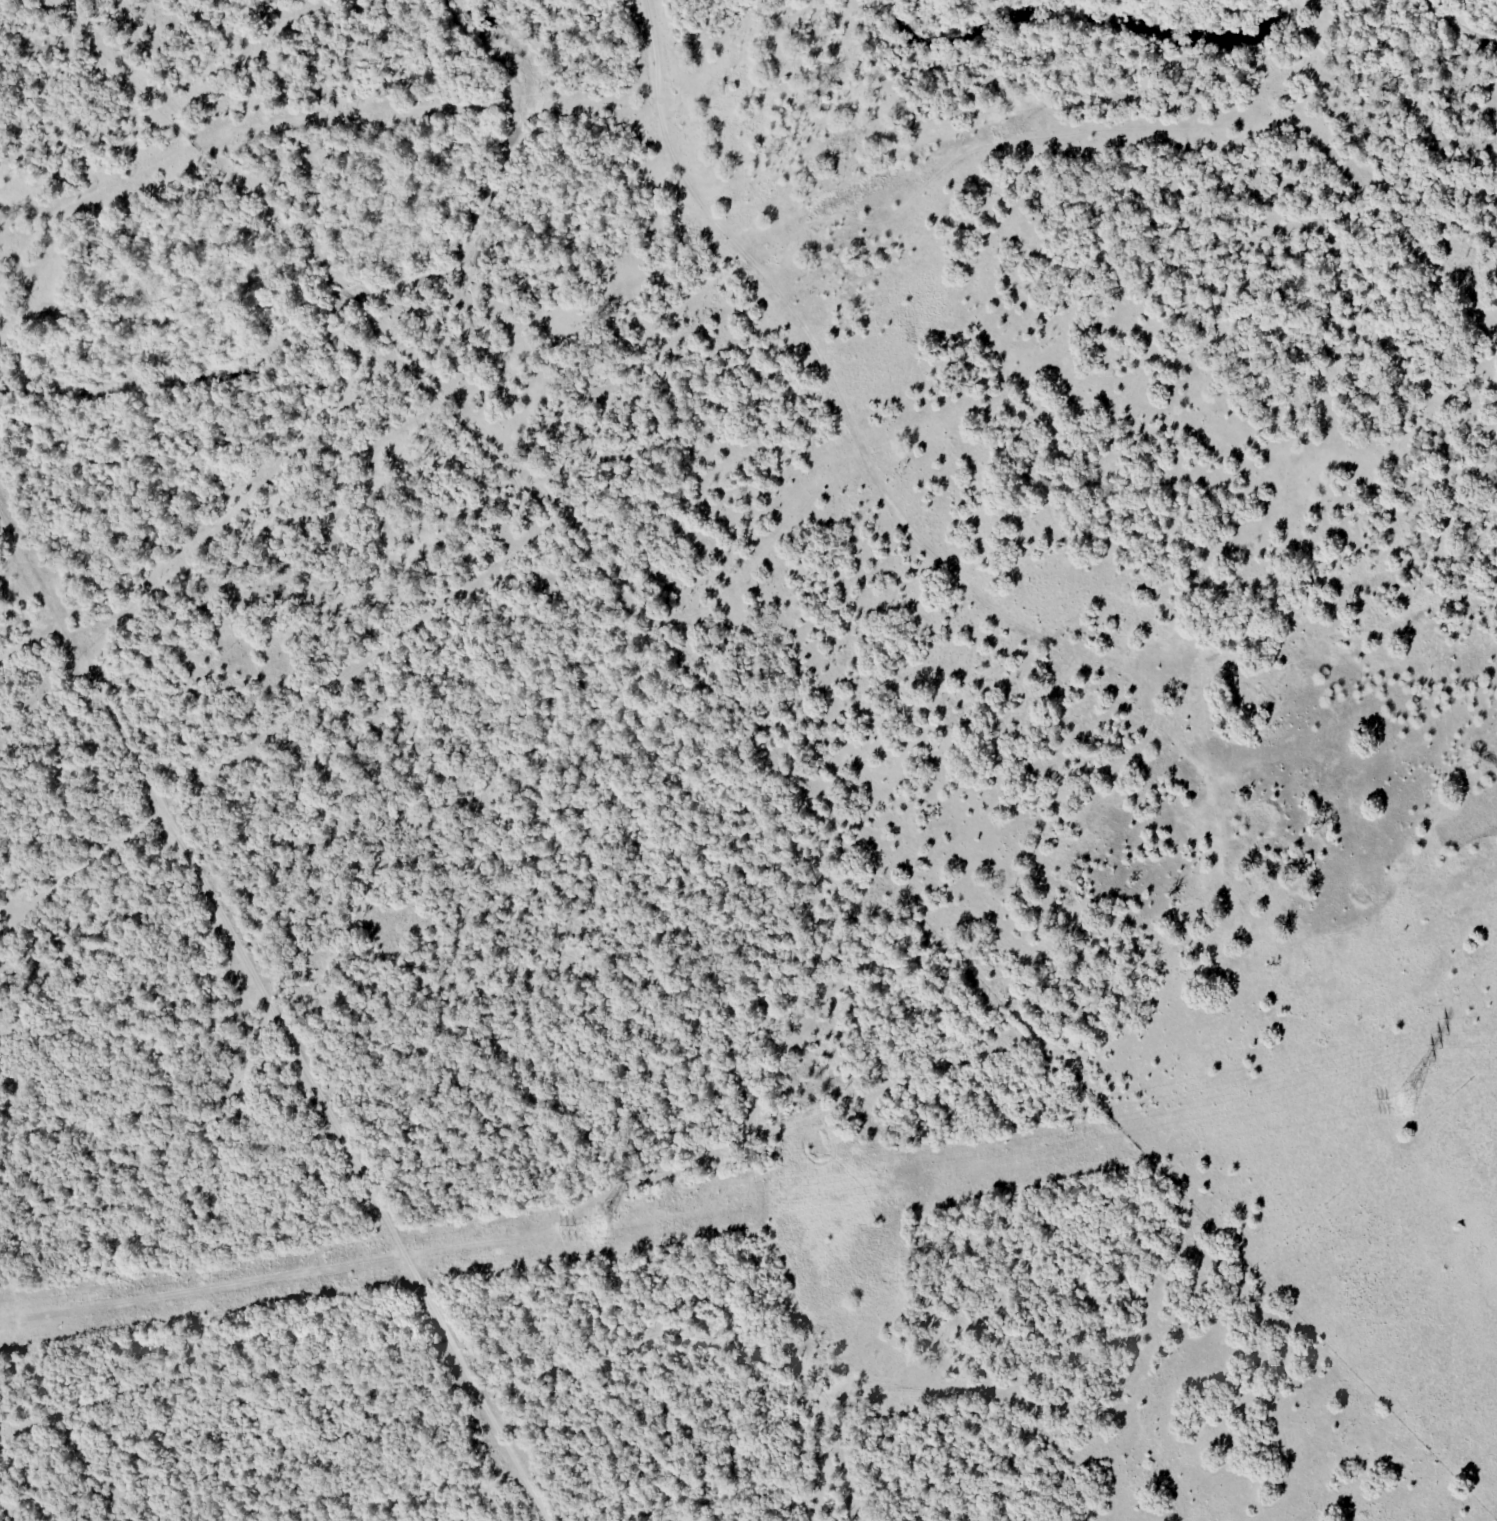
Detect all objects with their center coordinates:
road: (848, 438)
road: (264, 1096)
power tower: (1405, 1101)
power tower: (594, 1227)

